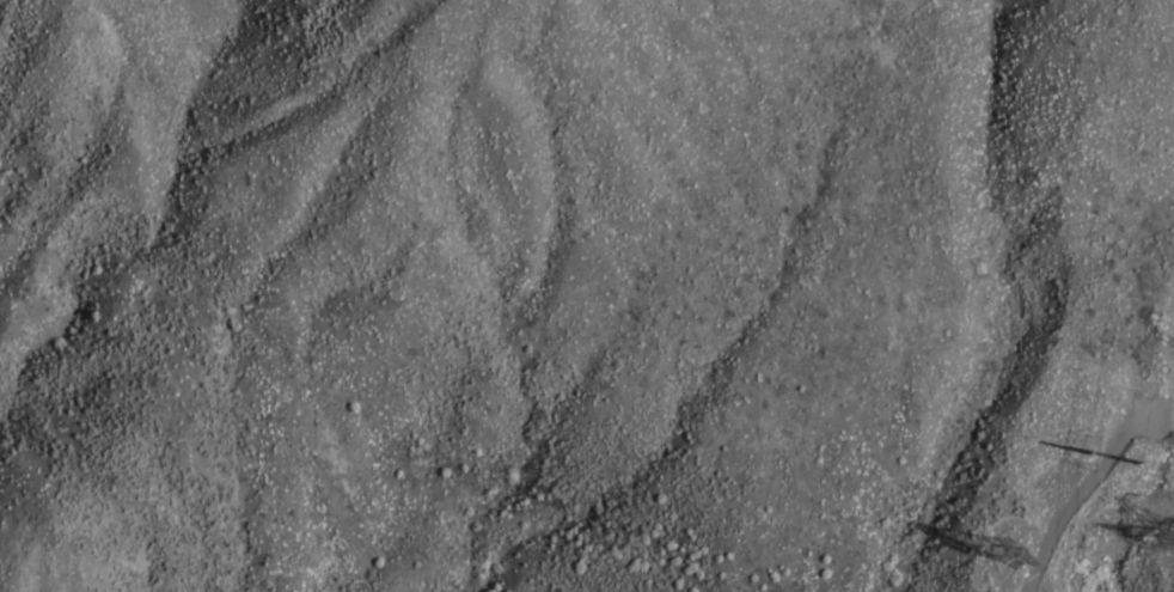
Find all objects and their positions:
power tower: (1111, 531)
power tower: (1166, 537)
power tower: (1014, 560)

